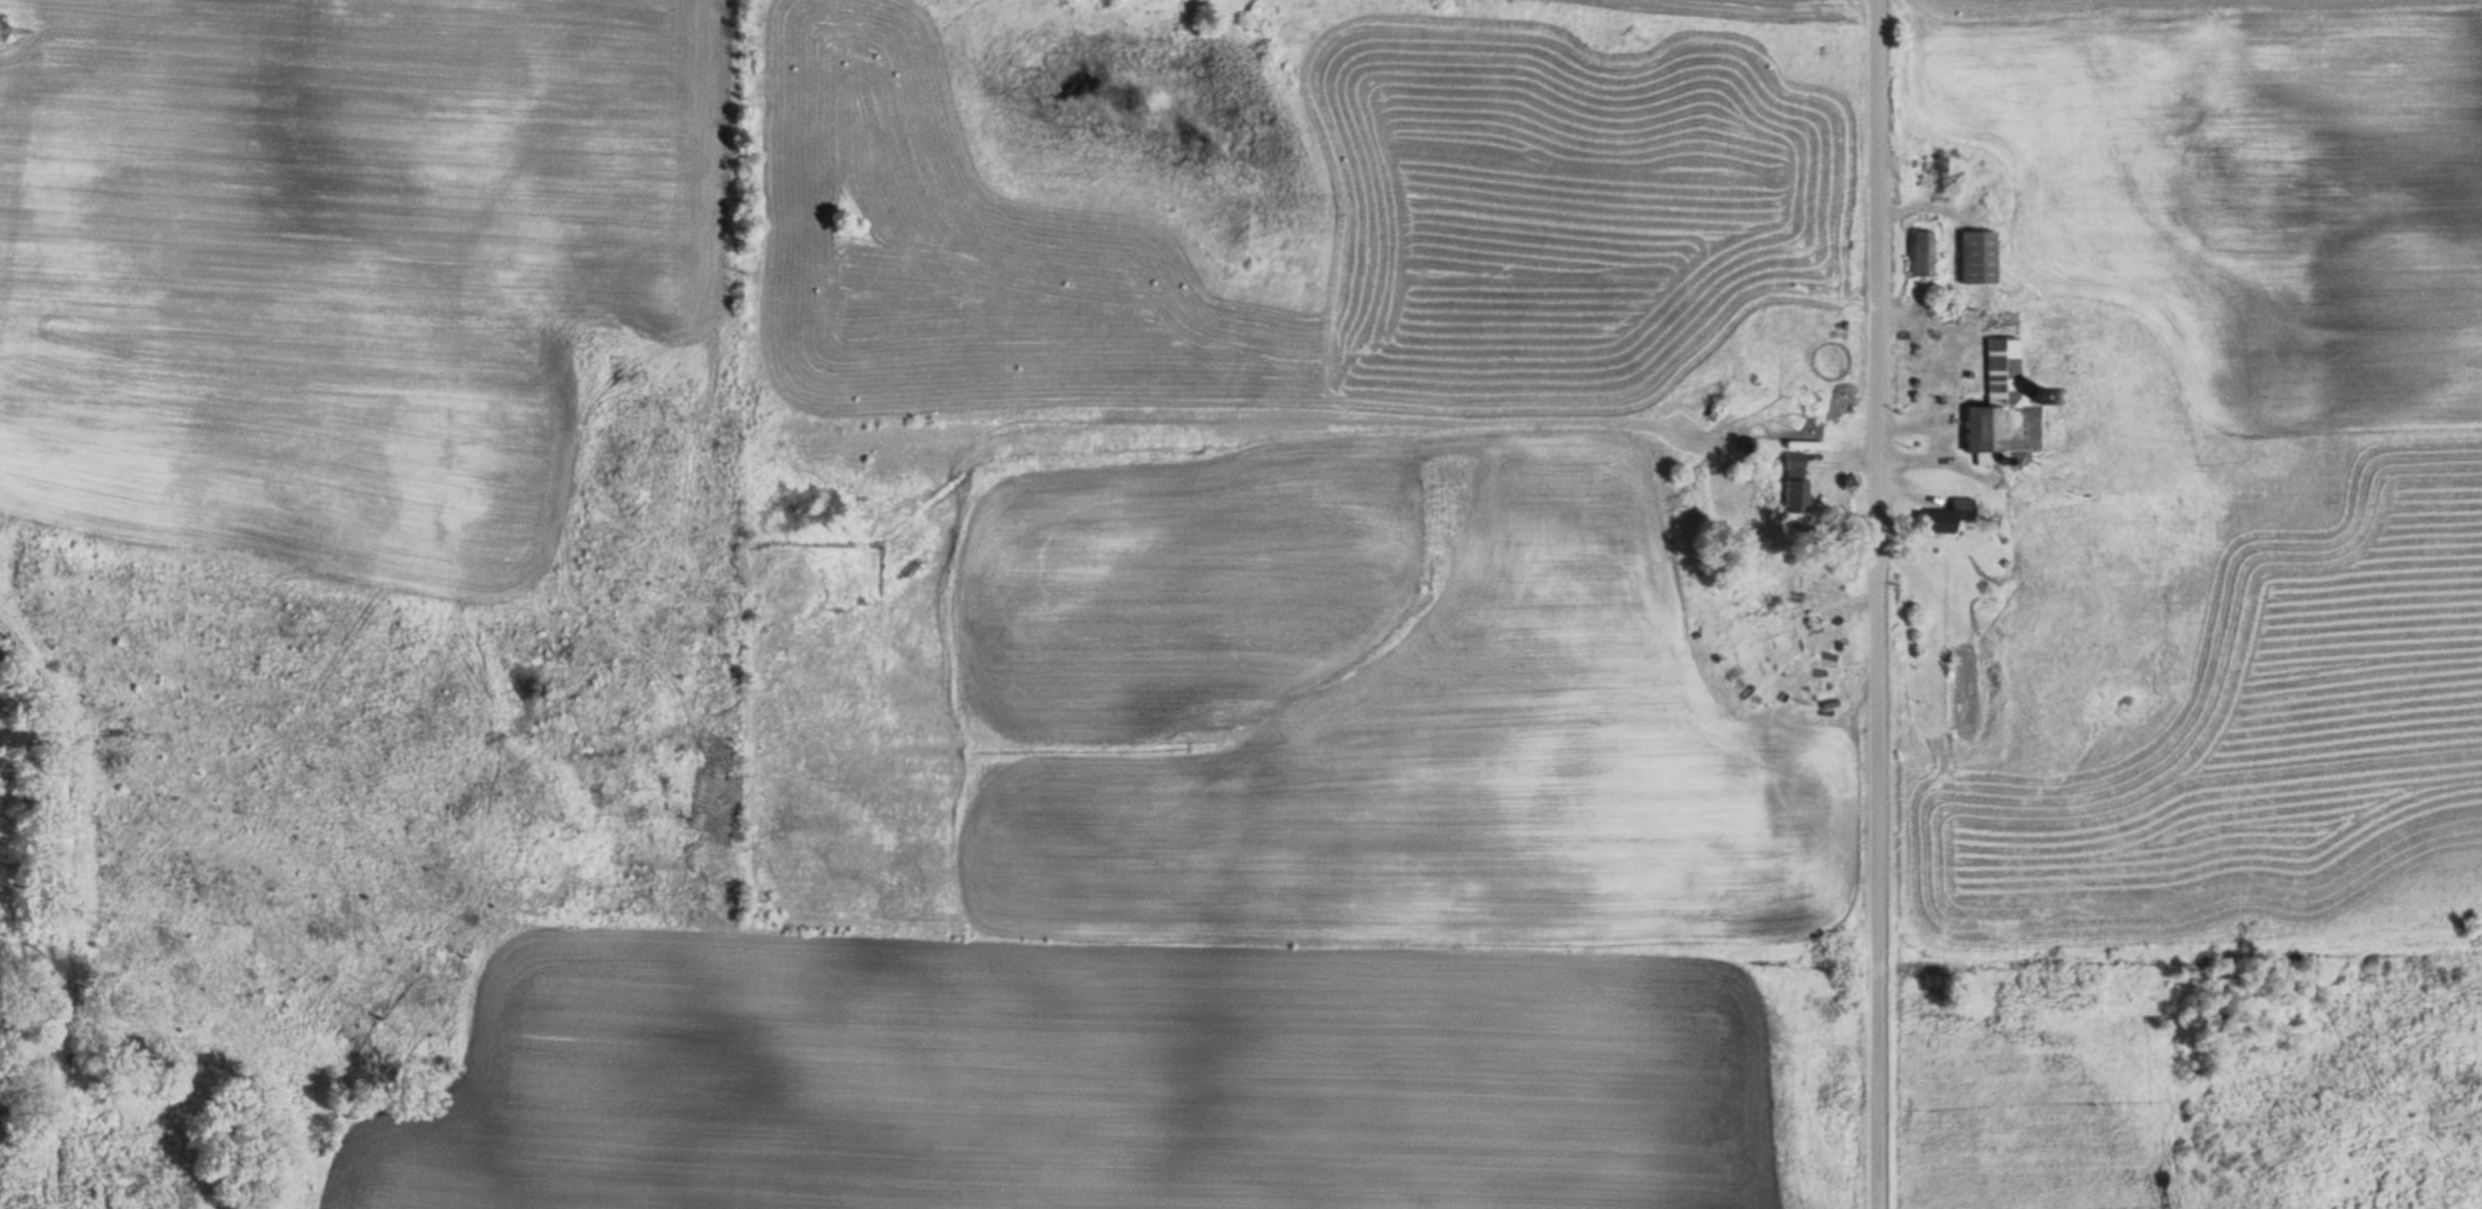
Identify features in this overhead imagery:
building: (1921, 253)
building: (1980, 256)
building: (2005, 405)
building: (1796, 497)
building: (1945, 516)
road: (1865, 604)

